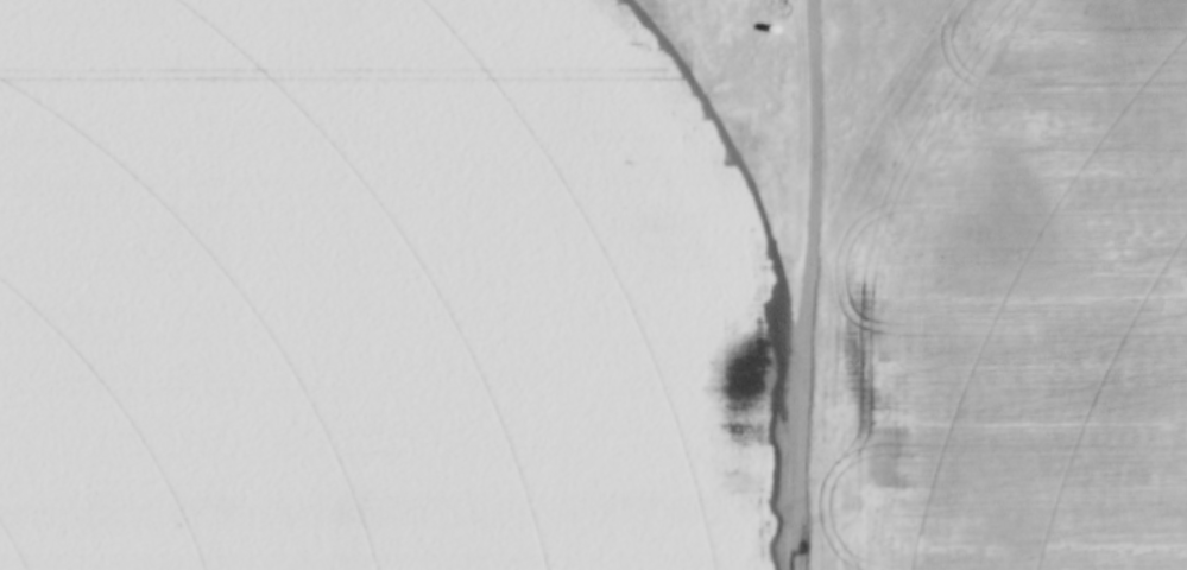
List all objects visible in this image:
road: (808, 285)

